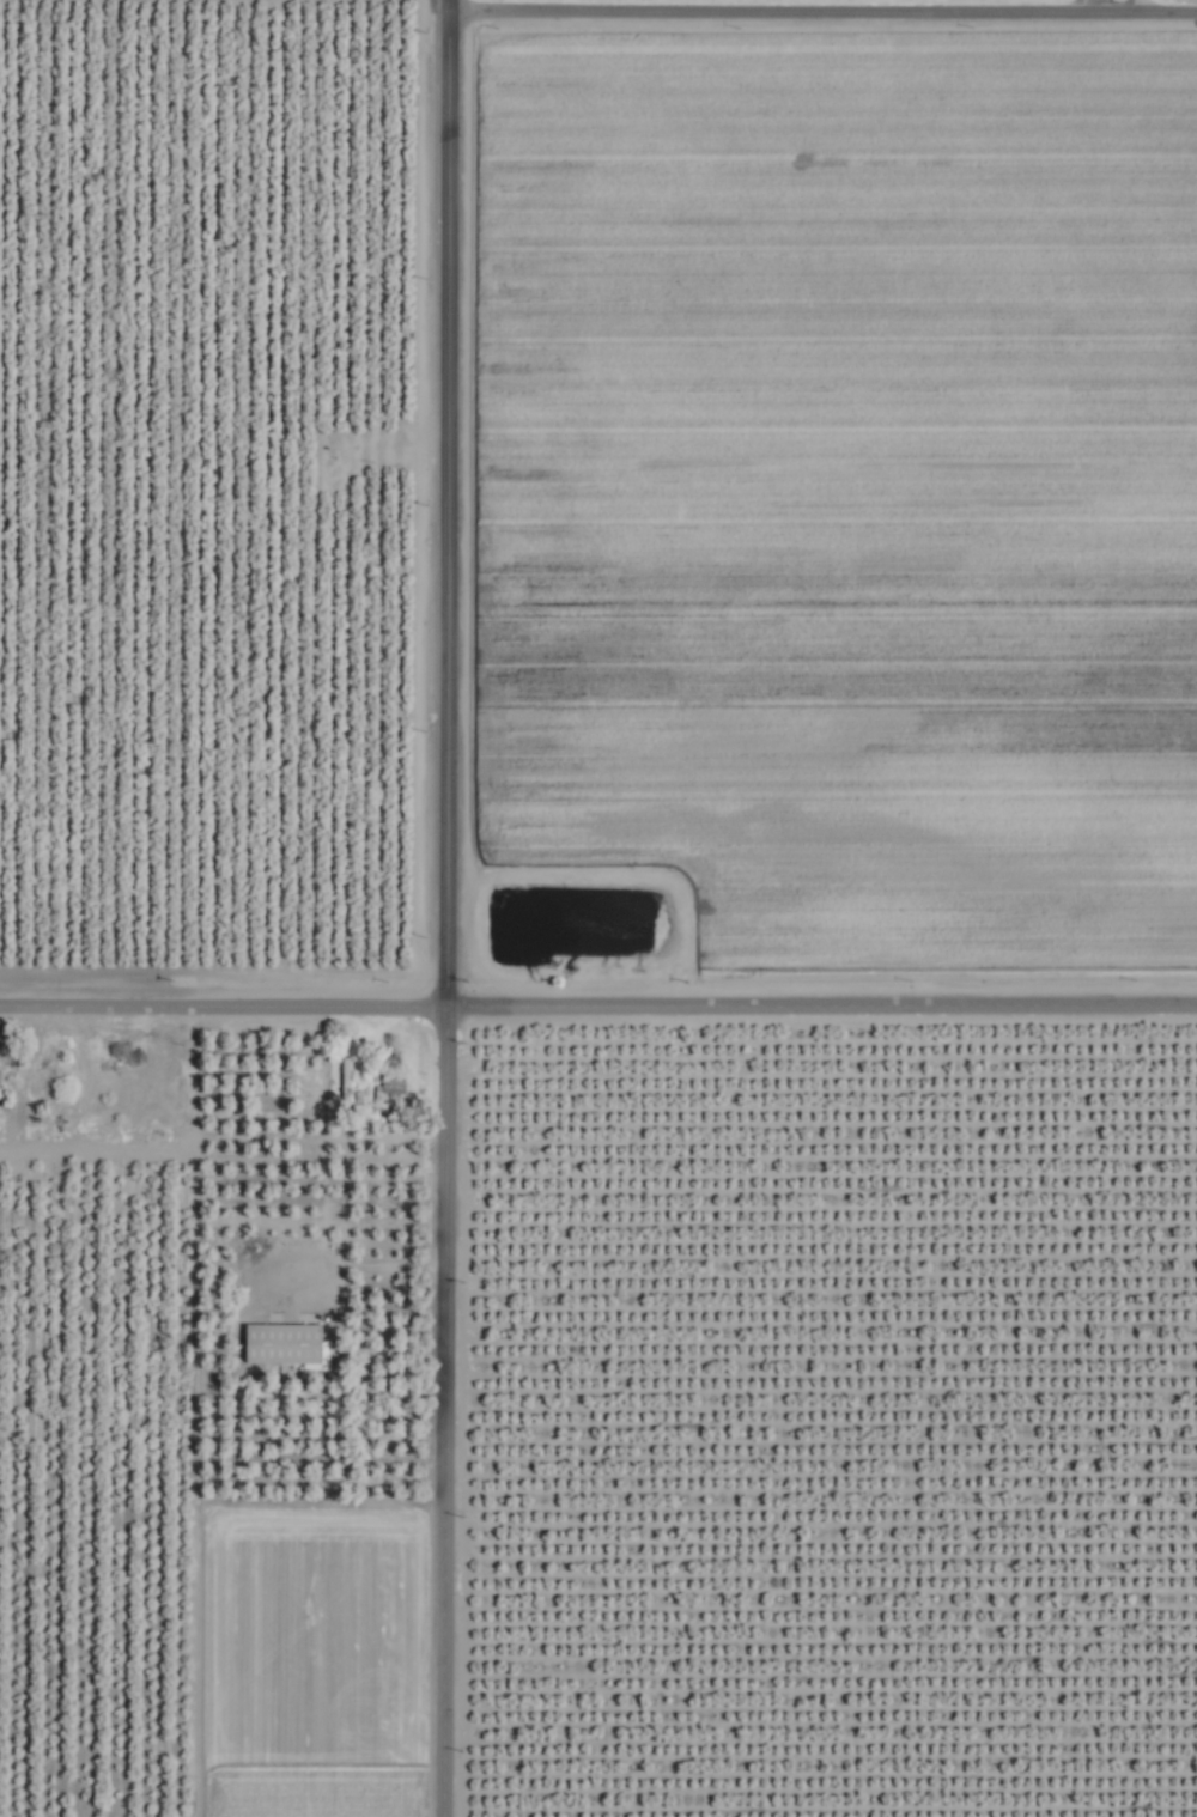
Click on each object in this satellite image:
road: (818, 5)
road: (452, 907)
road: (597, 1013)
building: (40, 1074)
building: (344, 1078)
building: (389, 1086)
road: (389, 1275)
building: (282, 1344)

